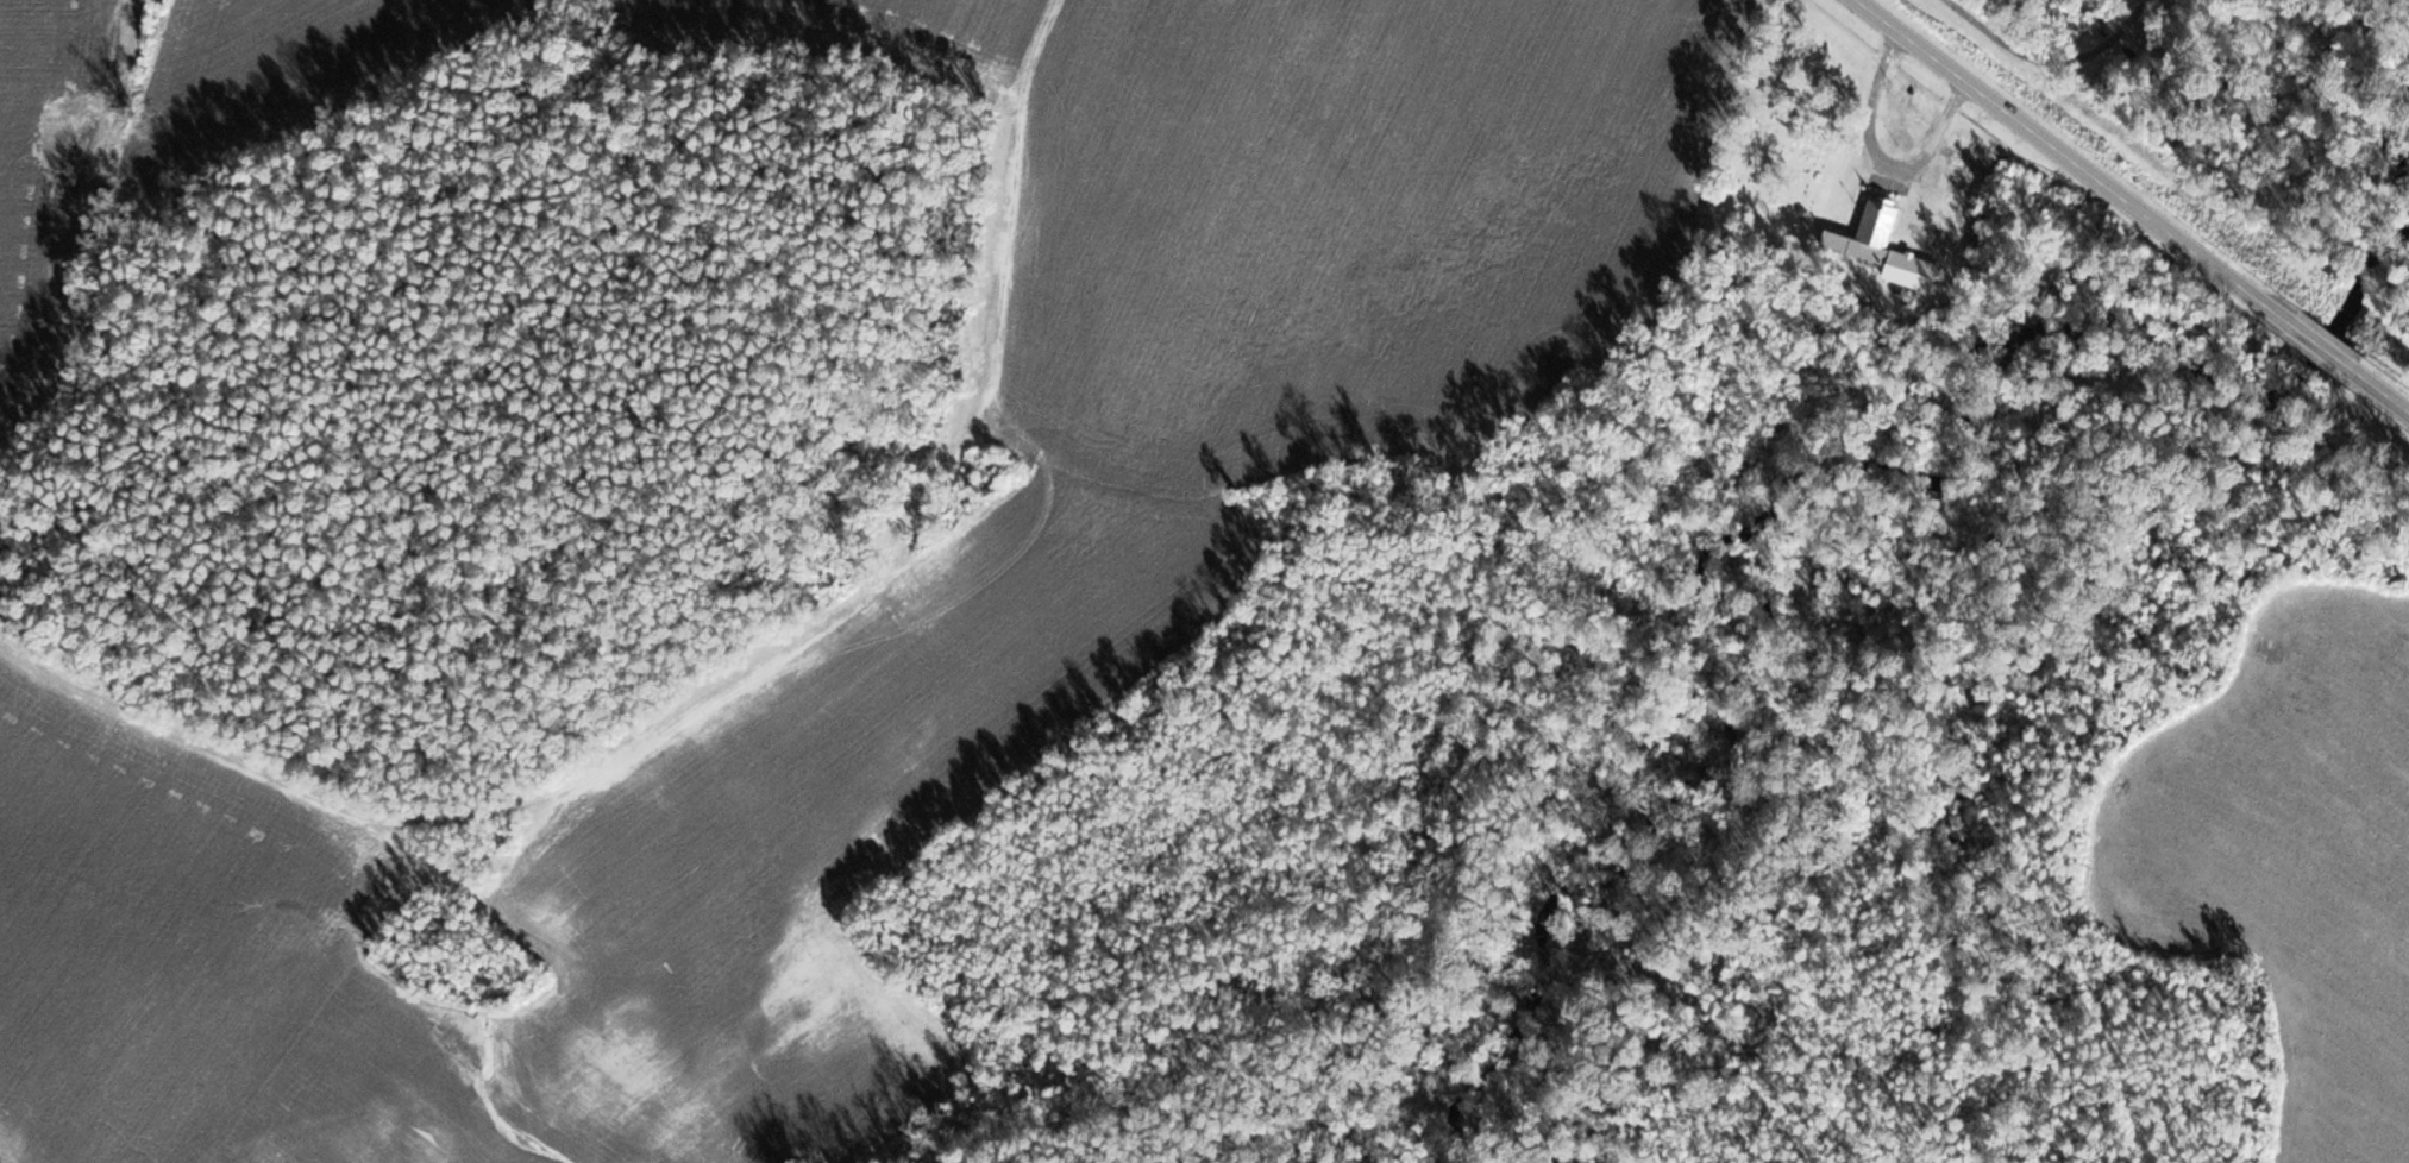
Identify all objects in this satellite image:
road: (2049, 57)
road: (2068, 159)
building: (1884, 244)
road: (2317, 345)
road: (2380, 392)

